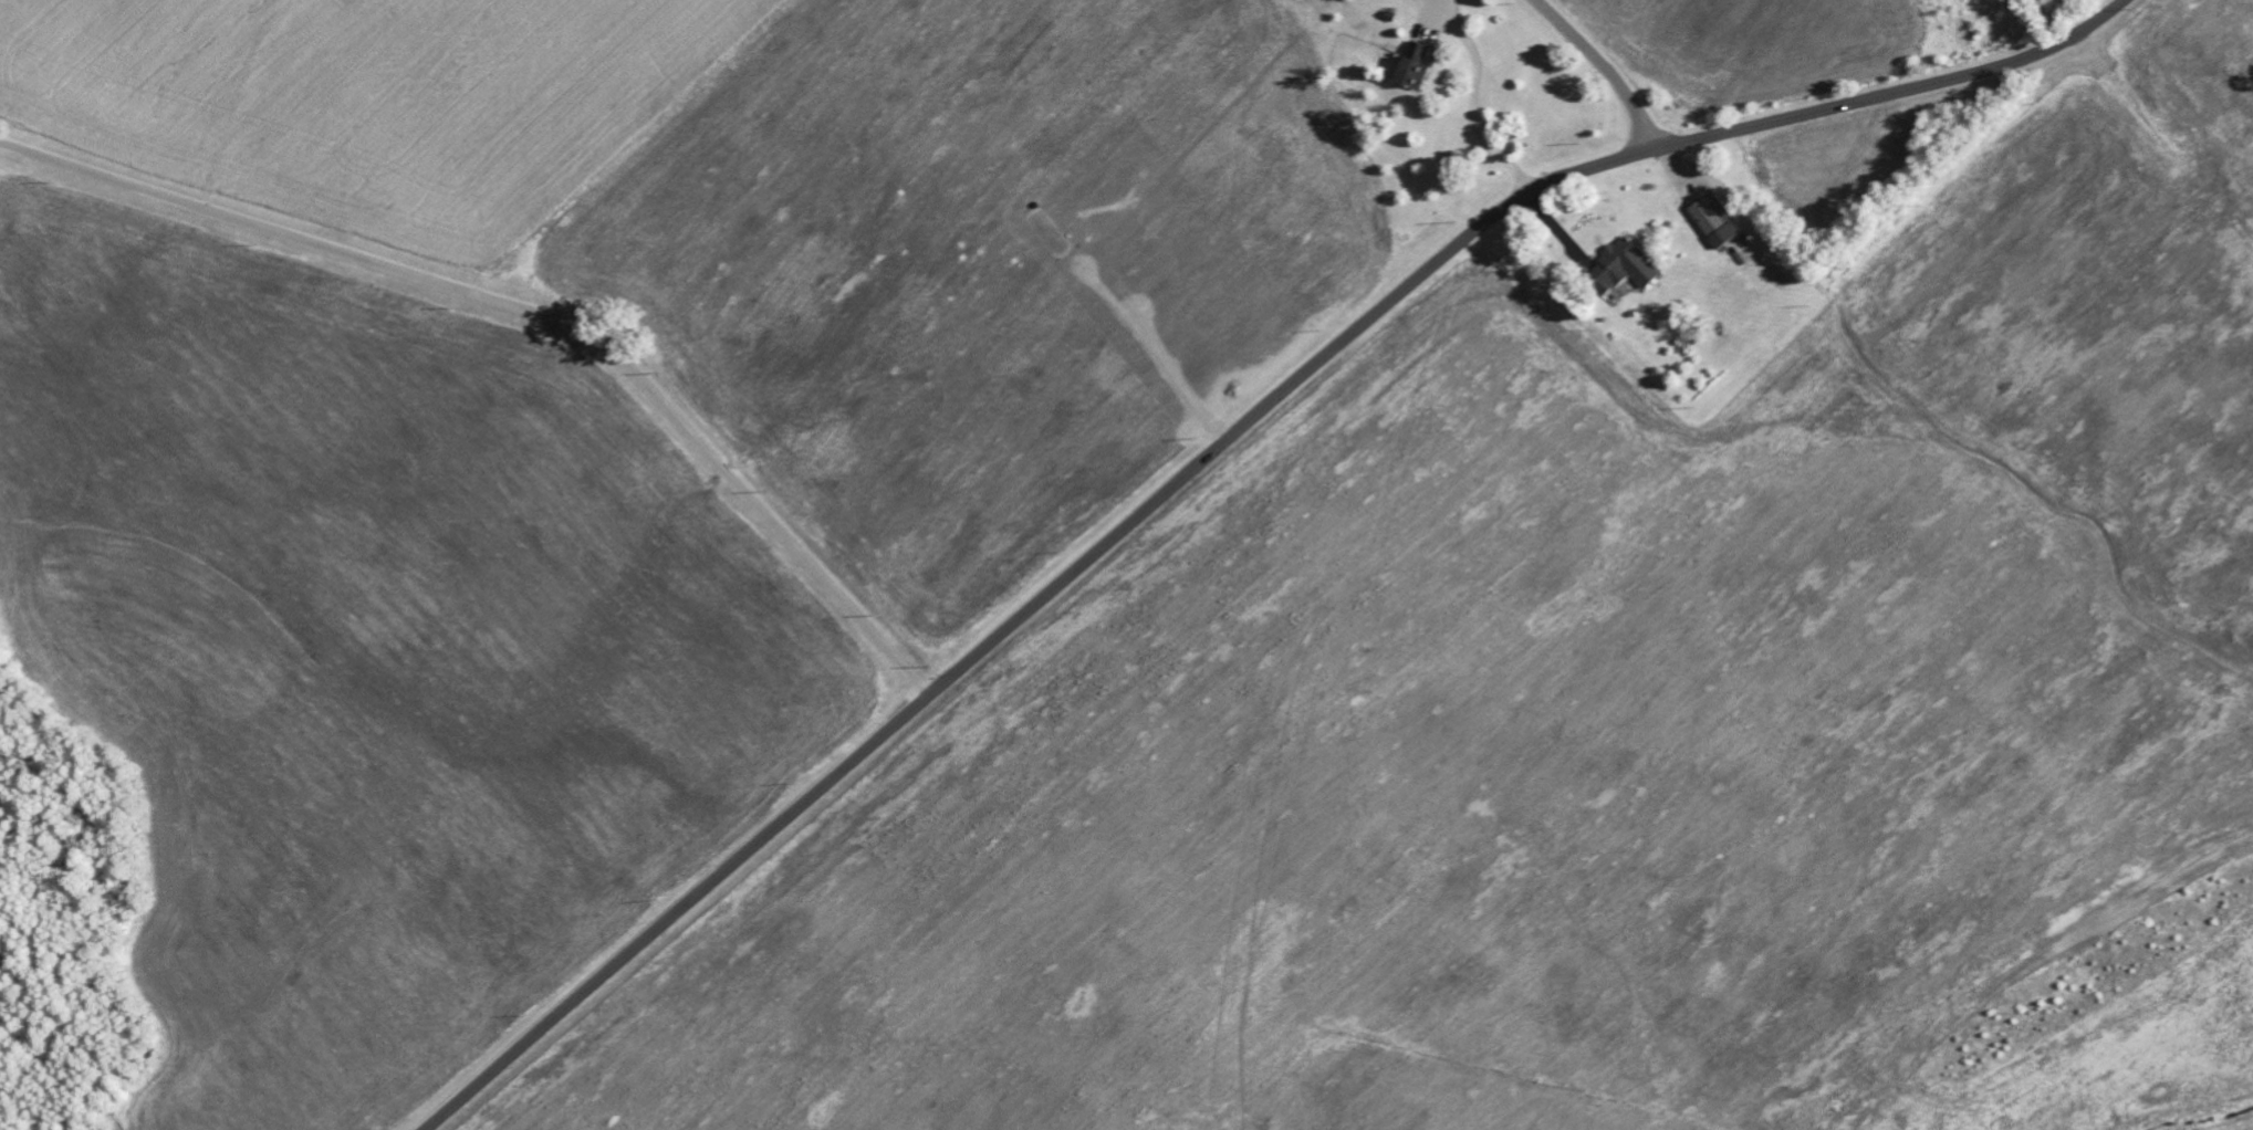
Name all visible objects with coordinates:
road: (1440, 1)
road: (1600, 66)
building: (1408, 69)
road: (1477, 95)
building: (1710, 216)
building: (1626, 270)
road: (529, 311)
road: (1206, 452)

